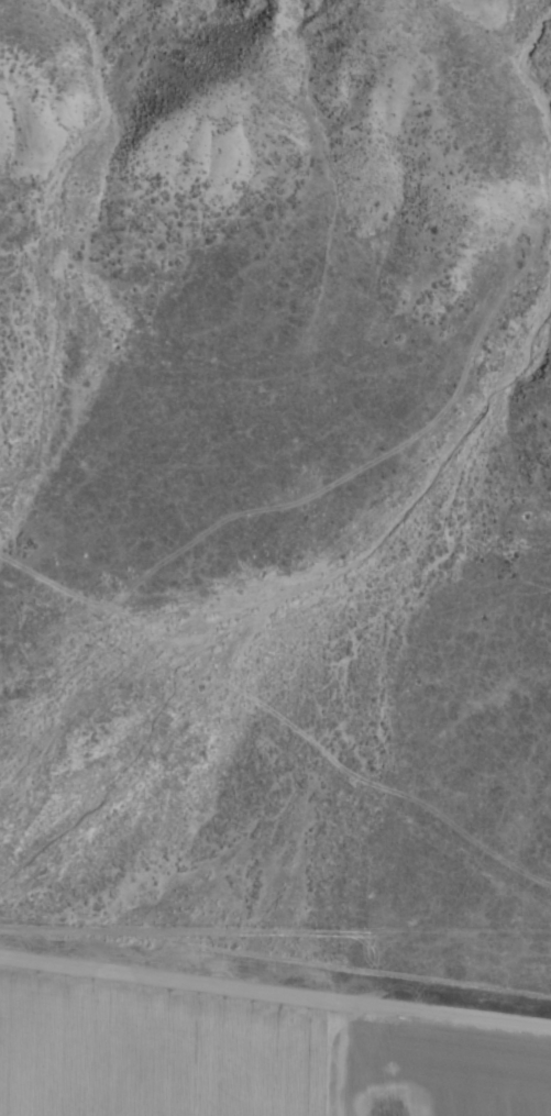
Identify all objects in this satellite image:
crop: (244, 1058)

